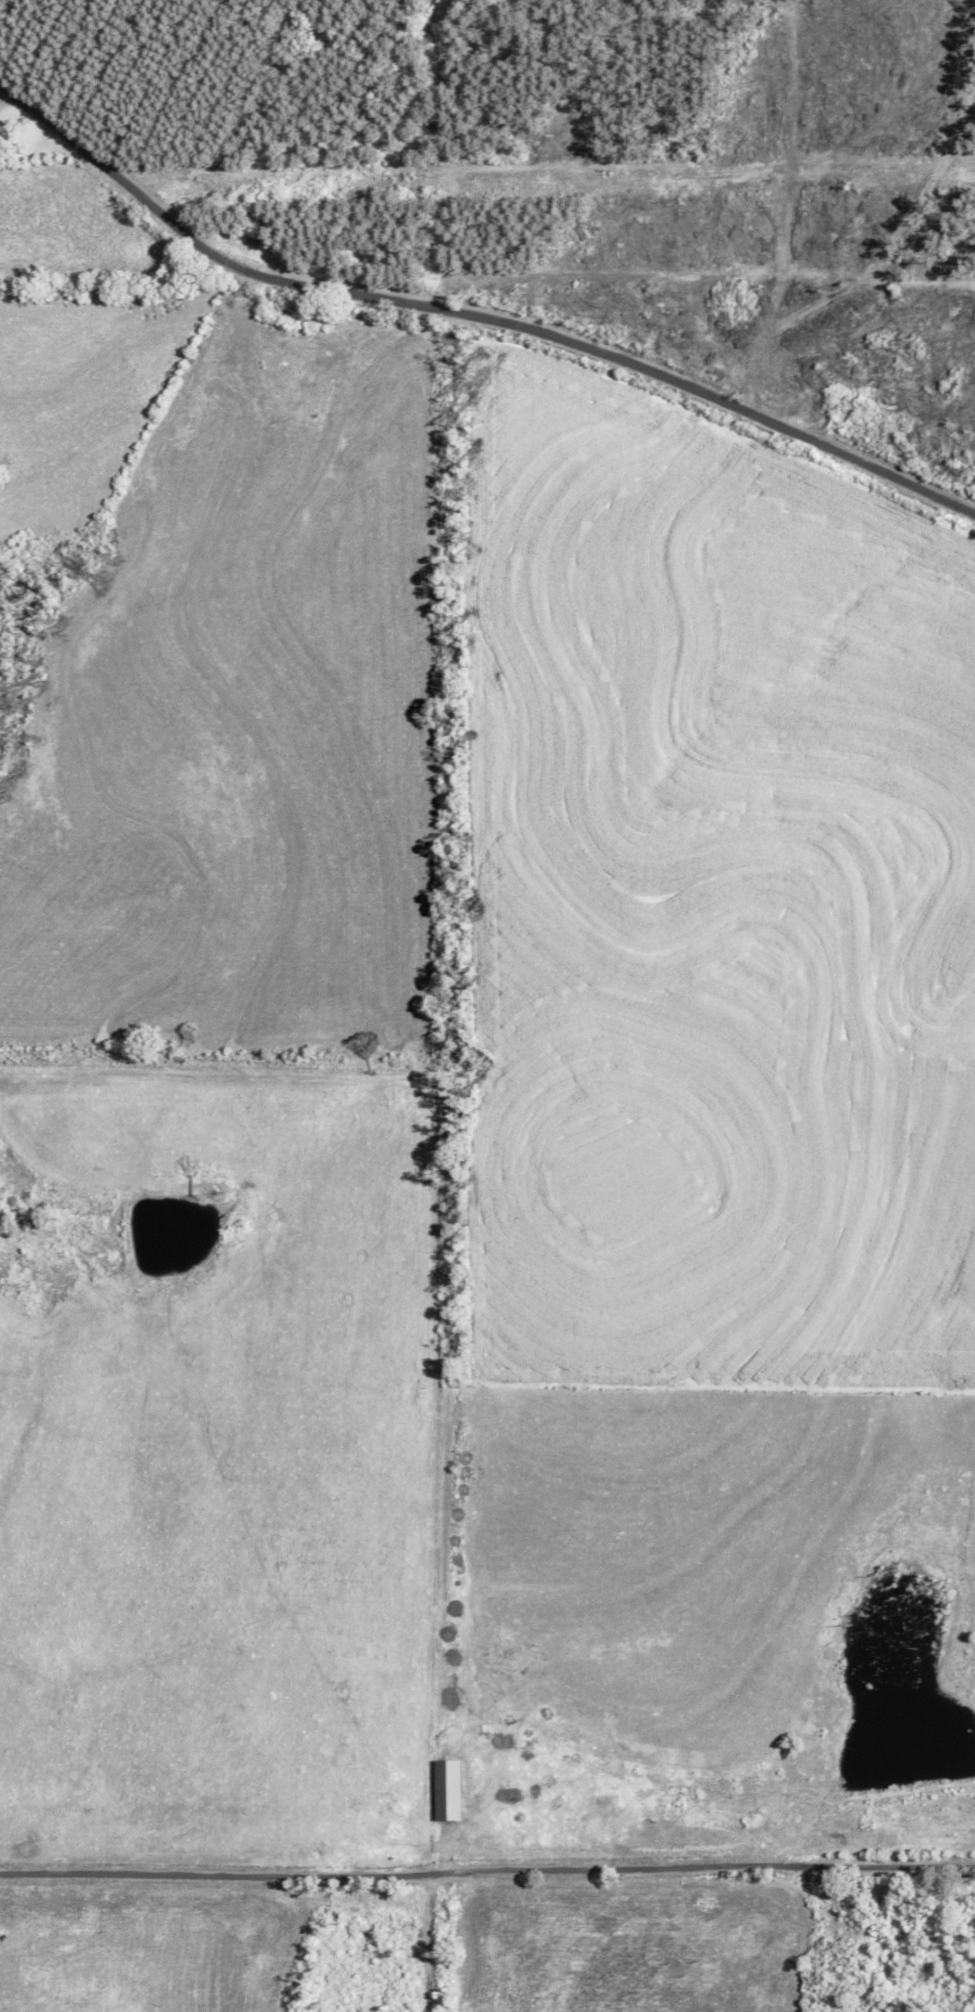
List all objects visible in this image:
building: (0, 154)
road: (473, 314)
road: (487, 1871)

